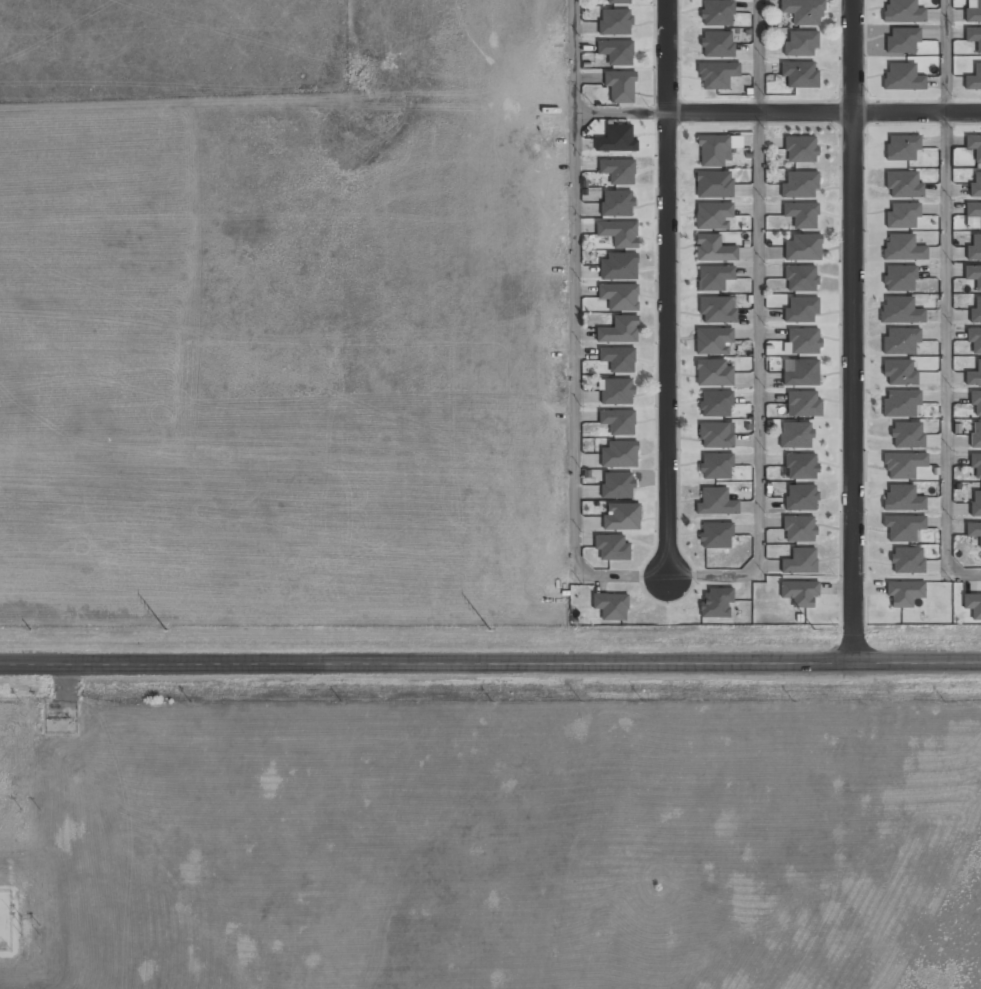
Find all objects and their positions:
building: (618, 1)
building: (803, 11)
building: (902, 11)
building: (973, 11)
building: (717, 12)
building: (614, 21)
building: (973, 36)
building: (902, 40)
building: (801, 43)
building: (716, 44)
building: (616, 52)
road: (759, 55)
road: (947, 55)
building: (716, 75)
building: (799, 75)
building: (901, 77)
building: (974, 78)
building: (619, 86)
road: (823, 111)
building: (616, 139)
building: (974, 146)
building: (902, 148)
building: (800, 149)
building: (713, 150)
building: (617, 170)
building: (799, 184)
building: (903, 184)
building: (714, 185)
building: (975, 186)
building: (616, 203)
building: (973, 211)
building: (712, 215)
building: (801, 215)
building: (902, 216)
building: (618, 233)
building: (802, 248)
building: (902, 248)
building: (974, 248)
building: (713, 249)
building: (617, 267)
building: (973, 275)
building: (713, 278)
building: (800, 278)
building: (898, 278)
road: (666, 288)
building: (619, 297)
building: (717, 310)
building: (801, 310)
building: (901, 310)
building: (976, 312)
road: (573, 330)
building: (618, 330)
road: (854, 332)
building: (974, 339)
building: (712, 340)
building: (901, 340)
building: (803, 341)
road: (946, 355)
building: (617, 358)
building: (801, 372)
building: (899, 372)
building: (713, 373)
building: (974, 375)
road: (759, 382)
building: (615, 391)
building: (975, 401)
building: (716, 403)
building: (901, 403)
building: (805, 404)
building: (618, 421)
building: (714, 435)
building: (794, 435)
building: (908, 435)
building: (976, 435)
building: (618, 454)
building: (800, 464)
building: (904, 464)
building: (715, 466)
building: (980, 467)
building: (617, 486)
building: (800, 498)
building: (903, 498)
building: (715, 502)
building: (975, 504)
building: (621, 516)
building: (799, 528)
building: (903, 529)
building: (973, 531)
building: (715, 535)
building: (611, 547)
building: (800, 560)
building: (906, 560)
building: (799, 593)
building: (902, 593)
building: (715, 603)
building: (611, 605)
building: (973, 605)
power tower: (165, 628)
power tower: (813, 628)
power tower: (30, 629)
power tower: (490, 629)
road: (490, 665)
power substation: (6, 921)

